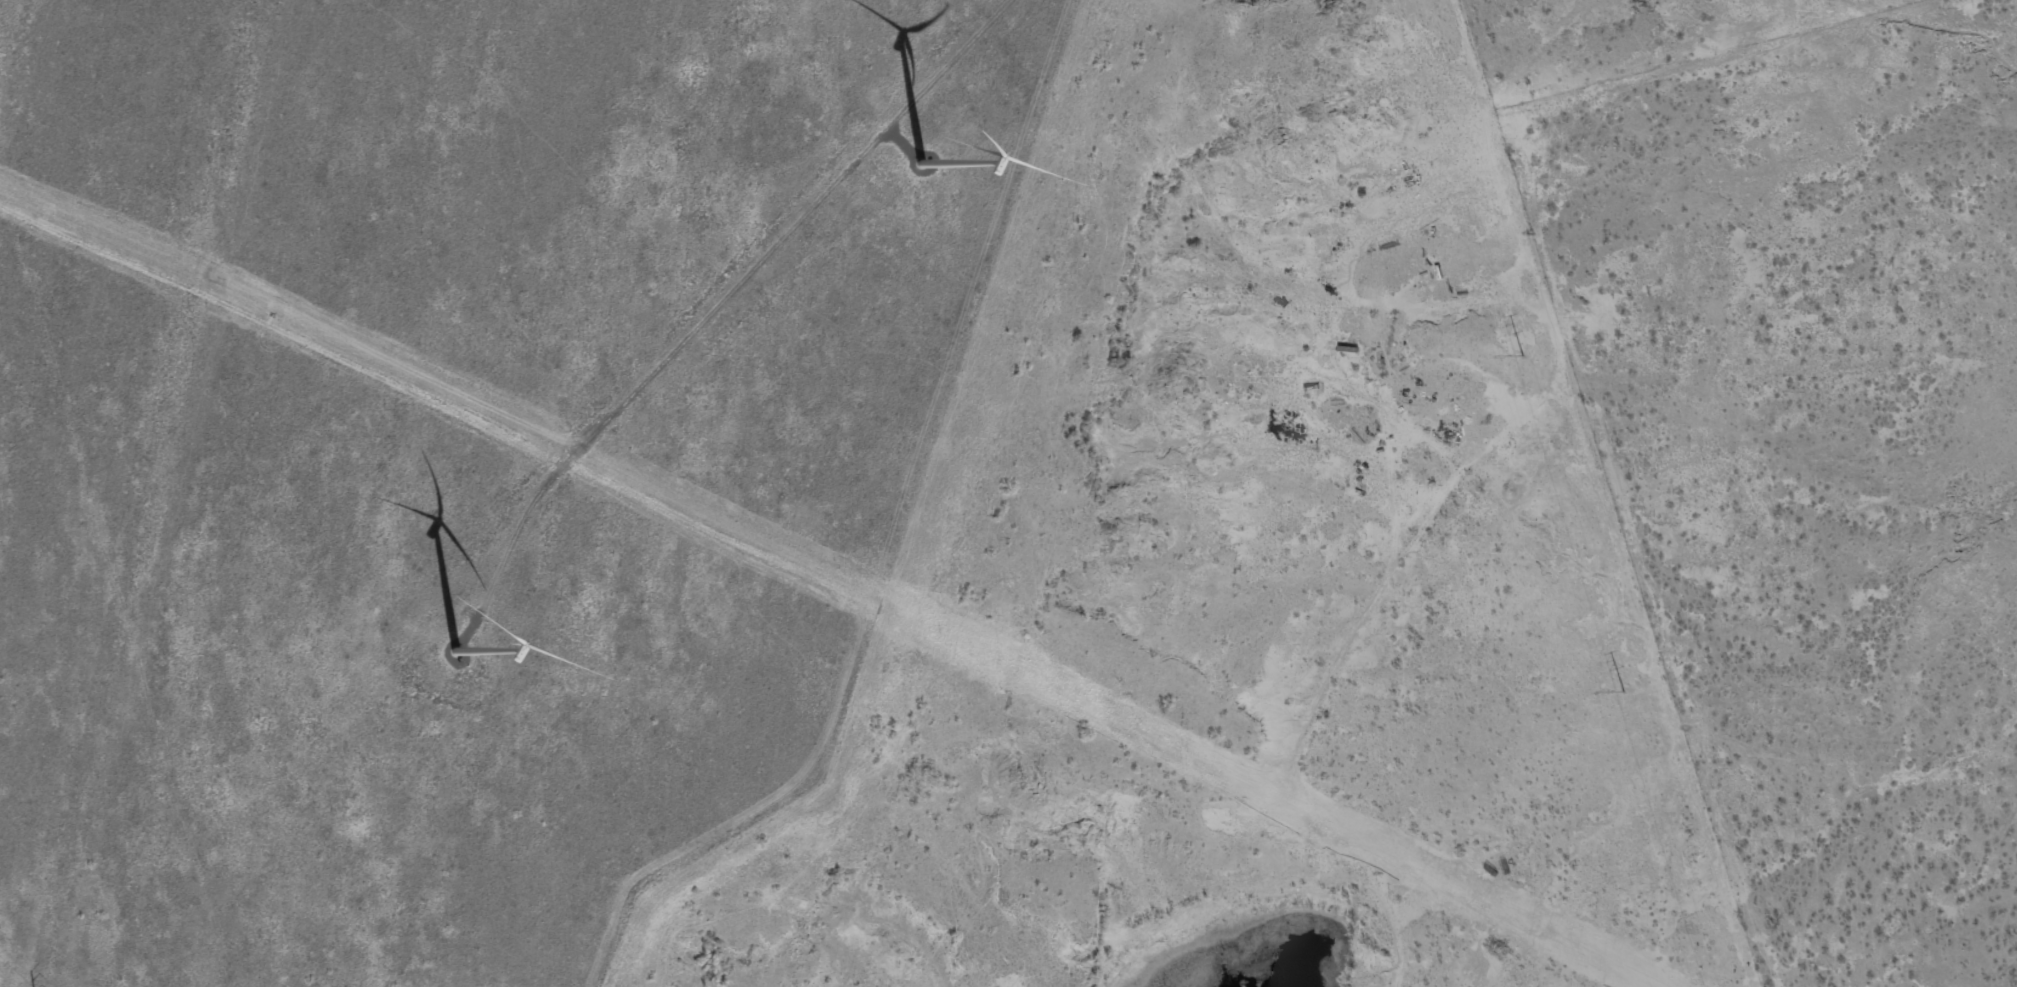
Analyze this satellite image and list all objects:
wind turbine: (918, 166)
power tower: (1523, 354)
wind turbine: (454, 650)
power tower: (1623, 690)

